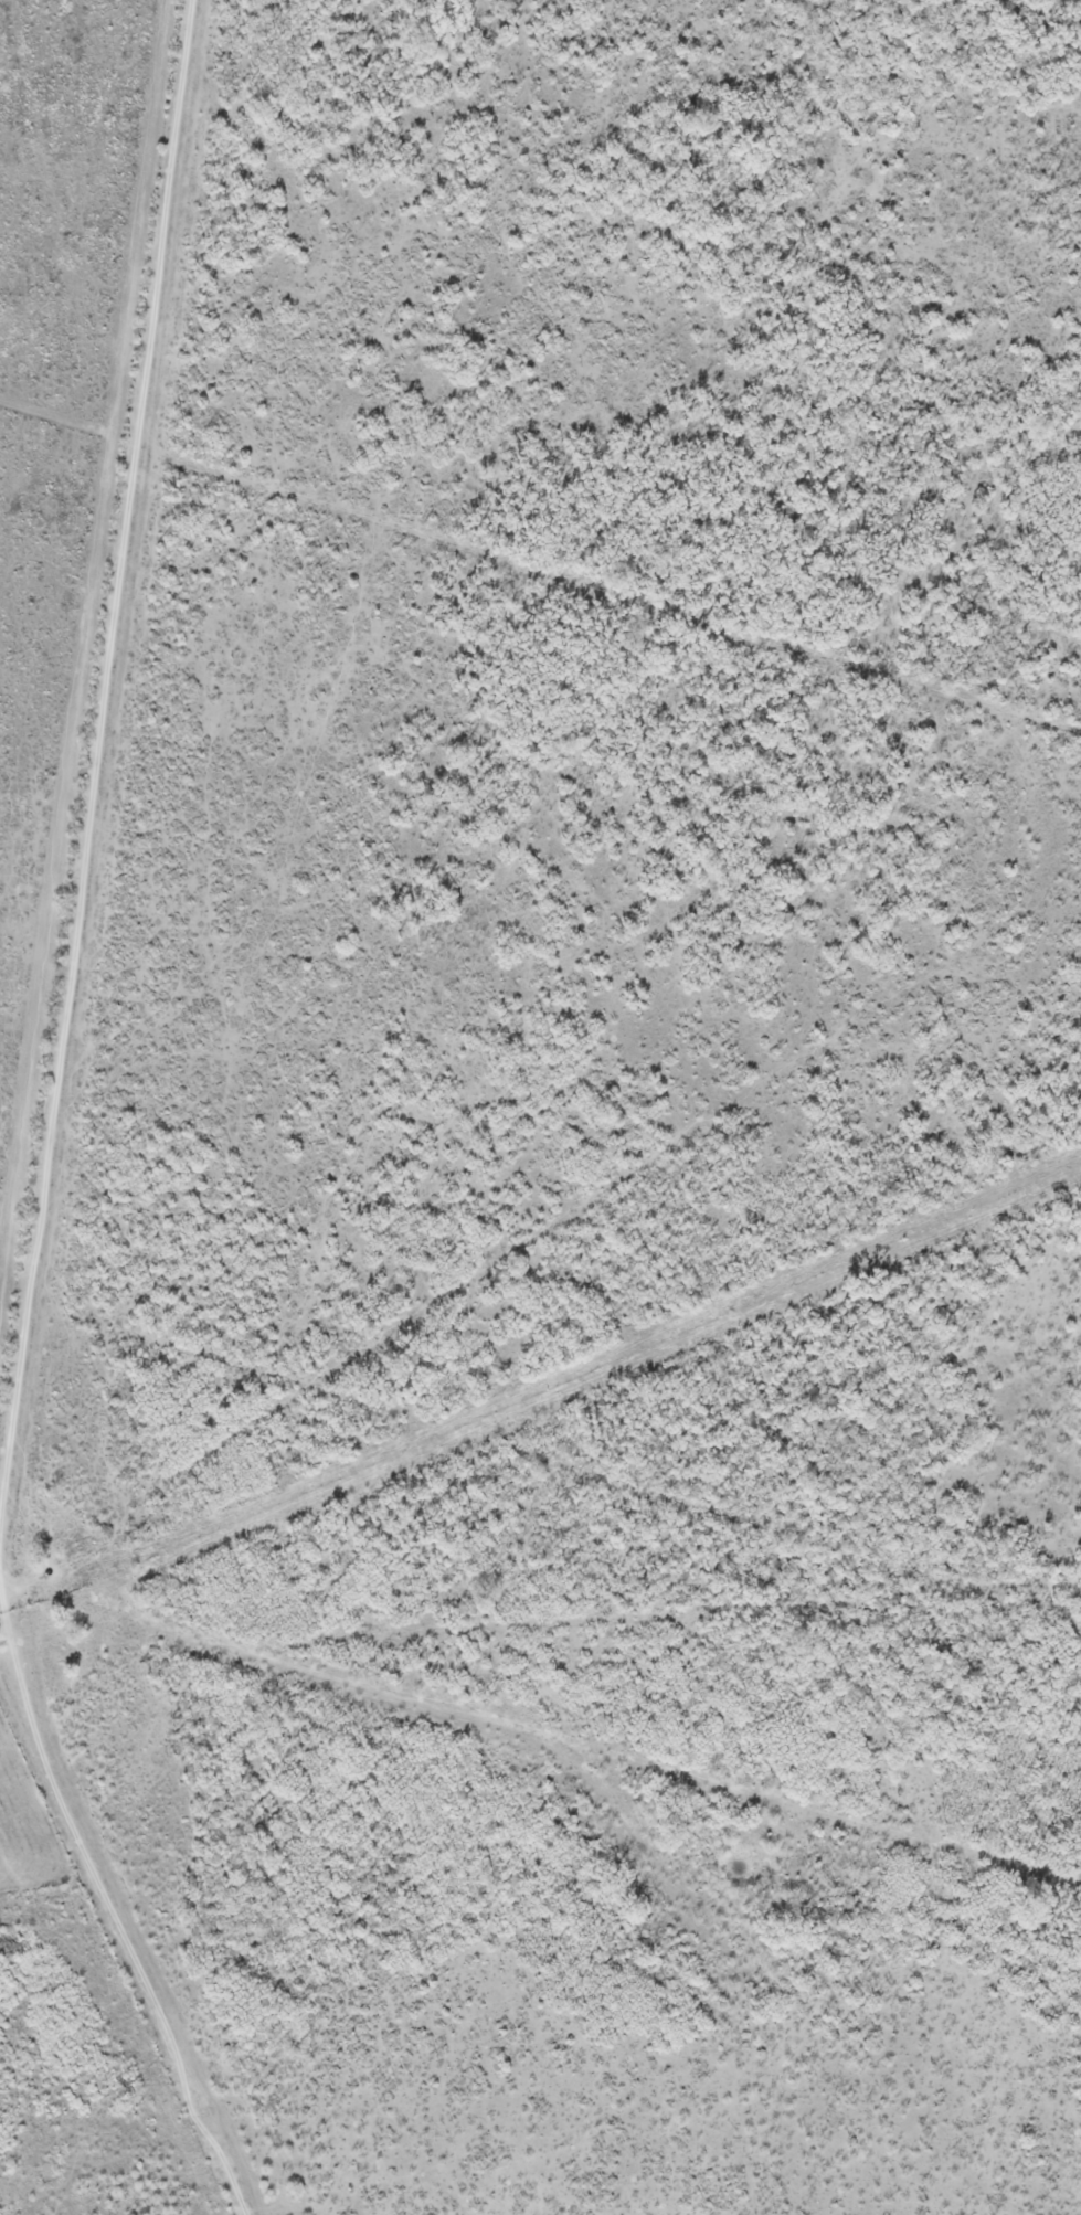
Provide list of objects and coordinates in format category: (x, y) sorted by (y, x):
road: (96, 801)
road: (96, 1989)

